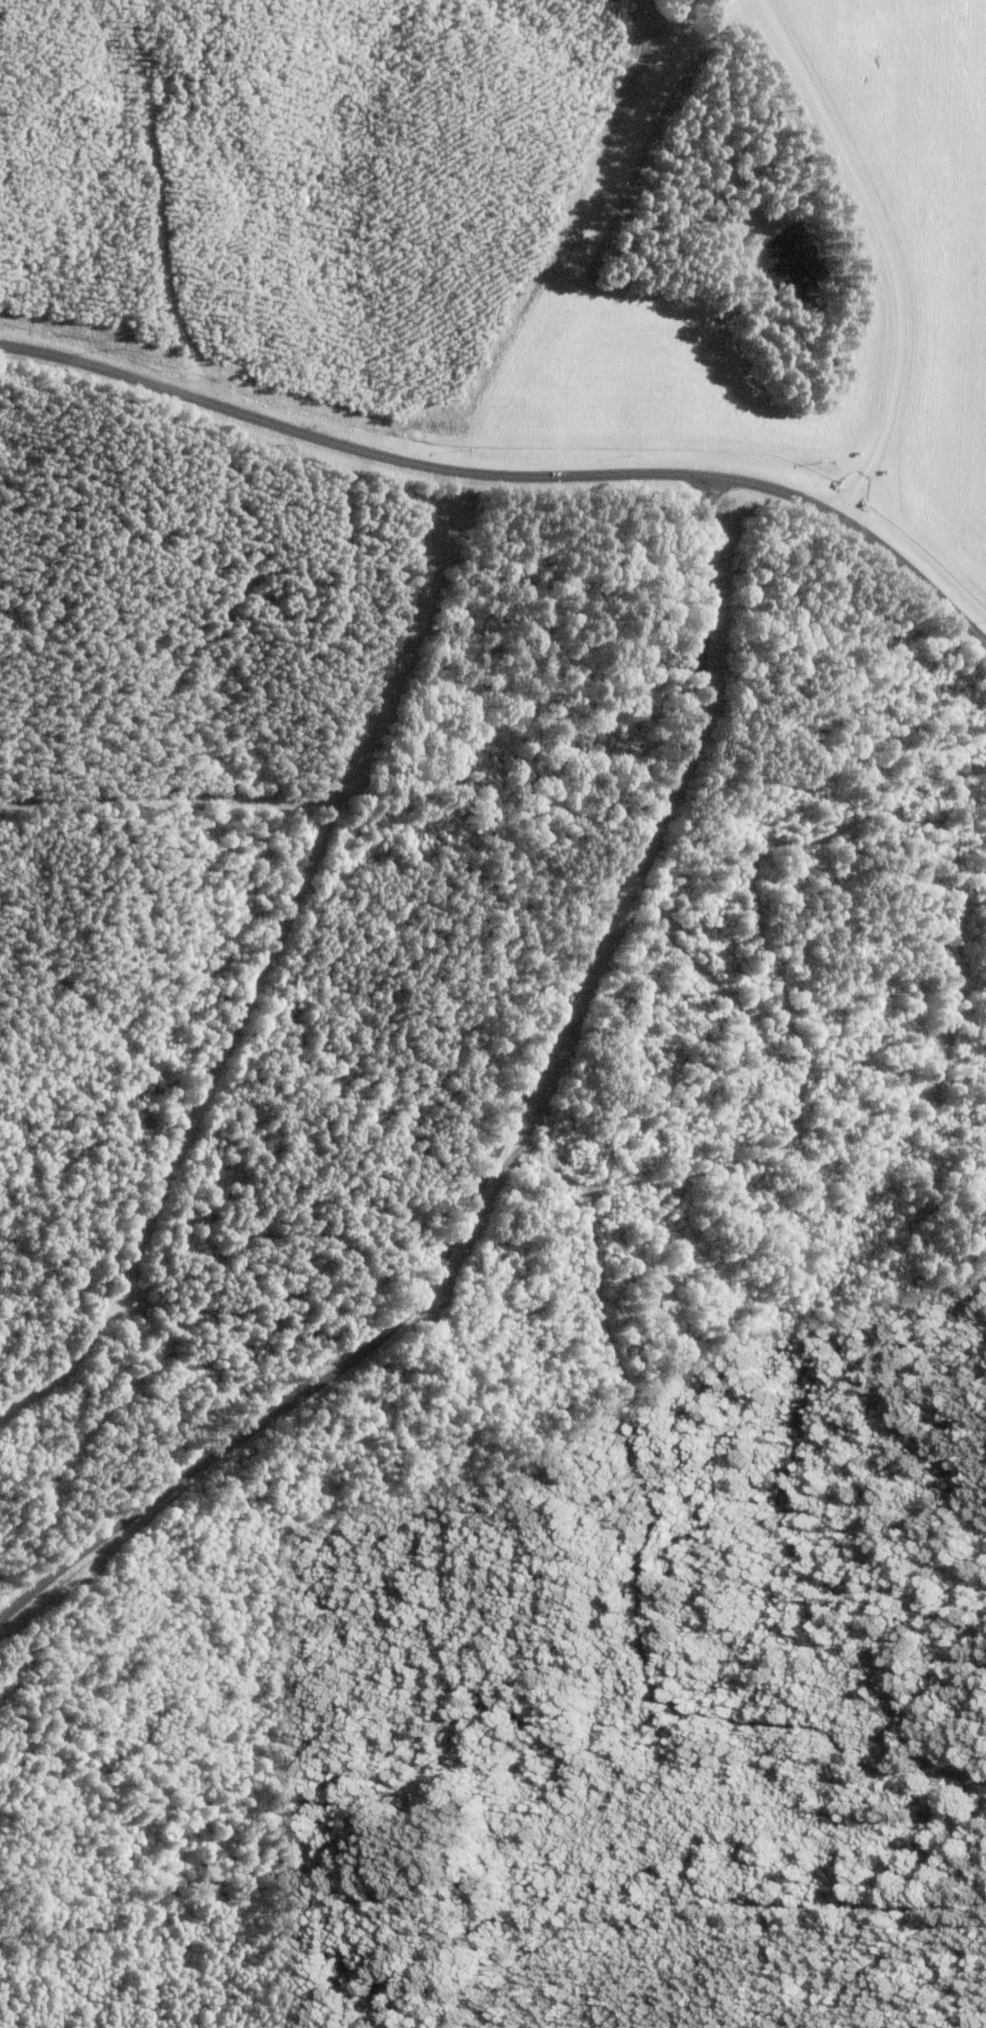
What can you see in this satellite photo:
road: (885, 248)
road: (510, 475)
road: (510, 1139)

